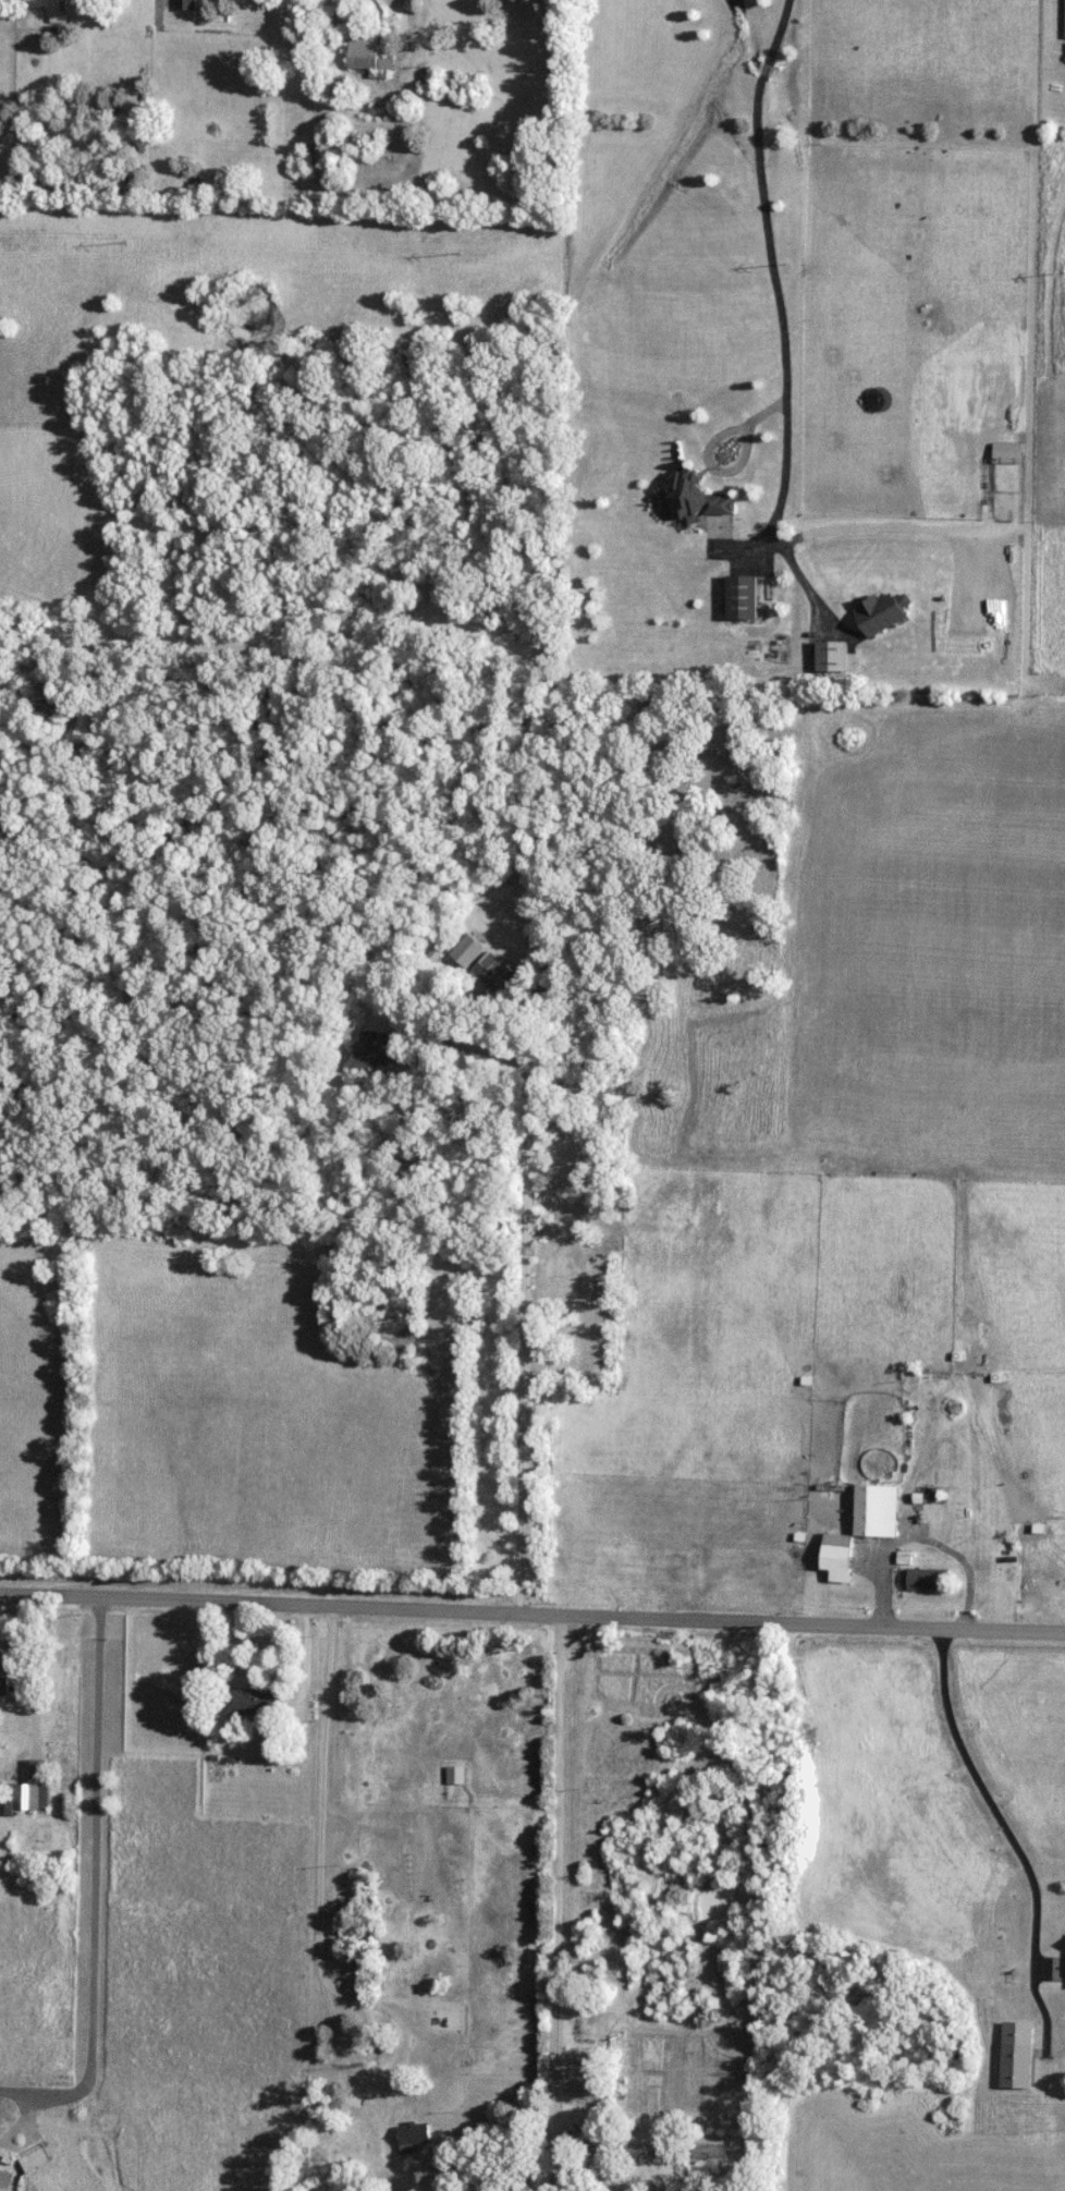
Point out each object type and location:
road: (160, 3)
building: (187, 4)
road: (414, 39)
building: (366, 51)
road: (781, 306)
building: (696, 498)
building: (743, 598)
building: (469, 950)
building: (497, 974)
building: (374, 1052)
road: (528, 1303)
building: (877, 1511)
building: (957, 1524)
road: (947, 1551)
building: (837, 1553)
building: (929, 1580)
road: (531, 1617)
road: (41, 1679)
building: (249, 1703)
building: (456, 1775)
building: (28, 1790)
road: (1006, 1837)
road: (325, 1873)
road: (94, 1891)
road: (554, 1918)
building: (444, 2021)
building: (1018, 2067)
building: (414, 2137)
building: (710, 2152)

